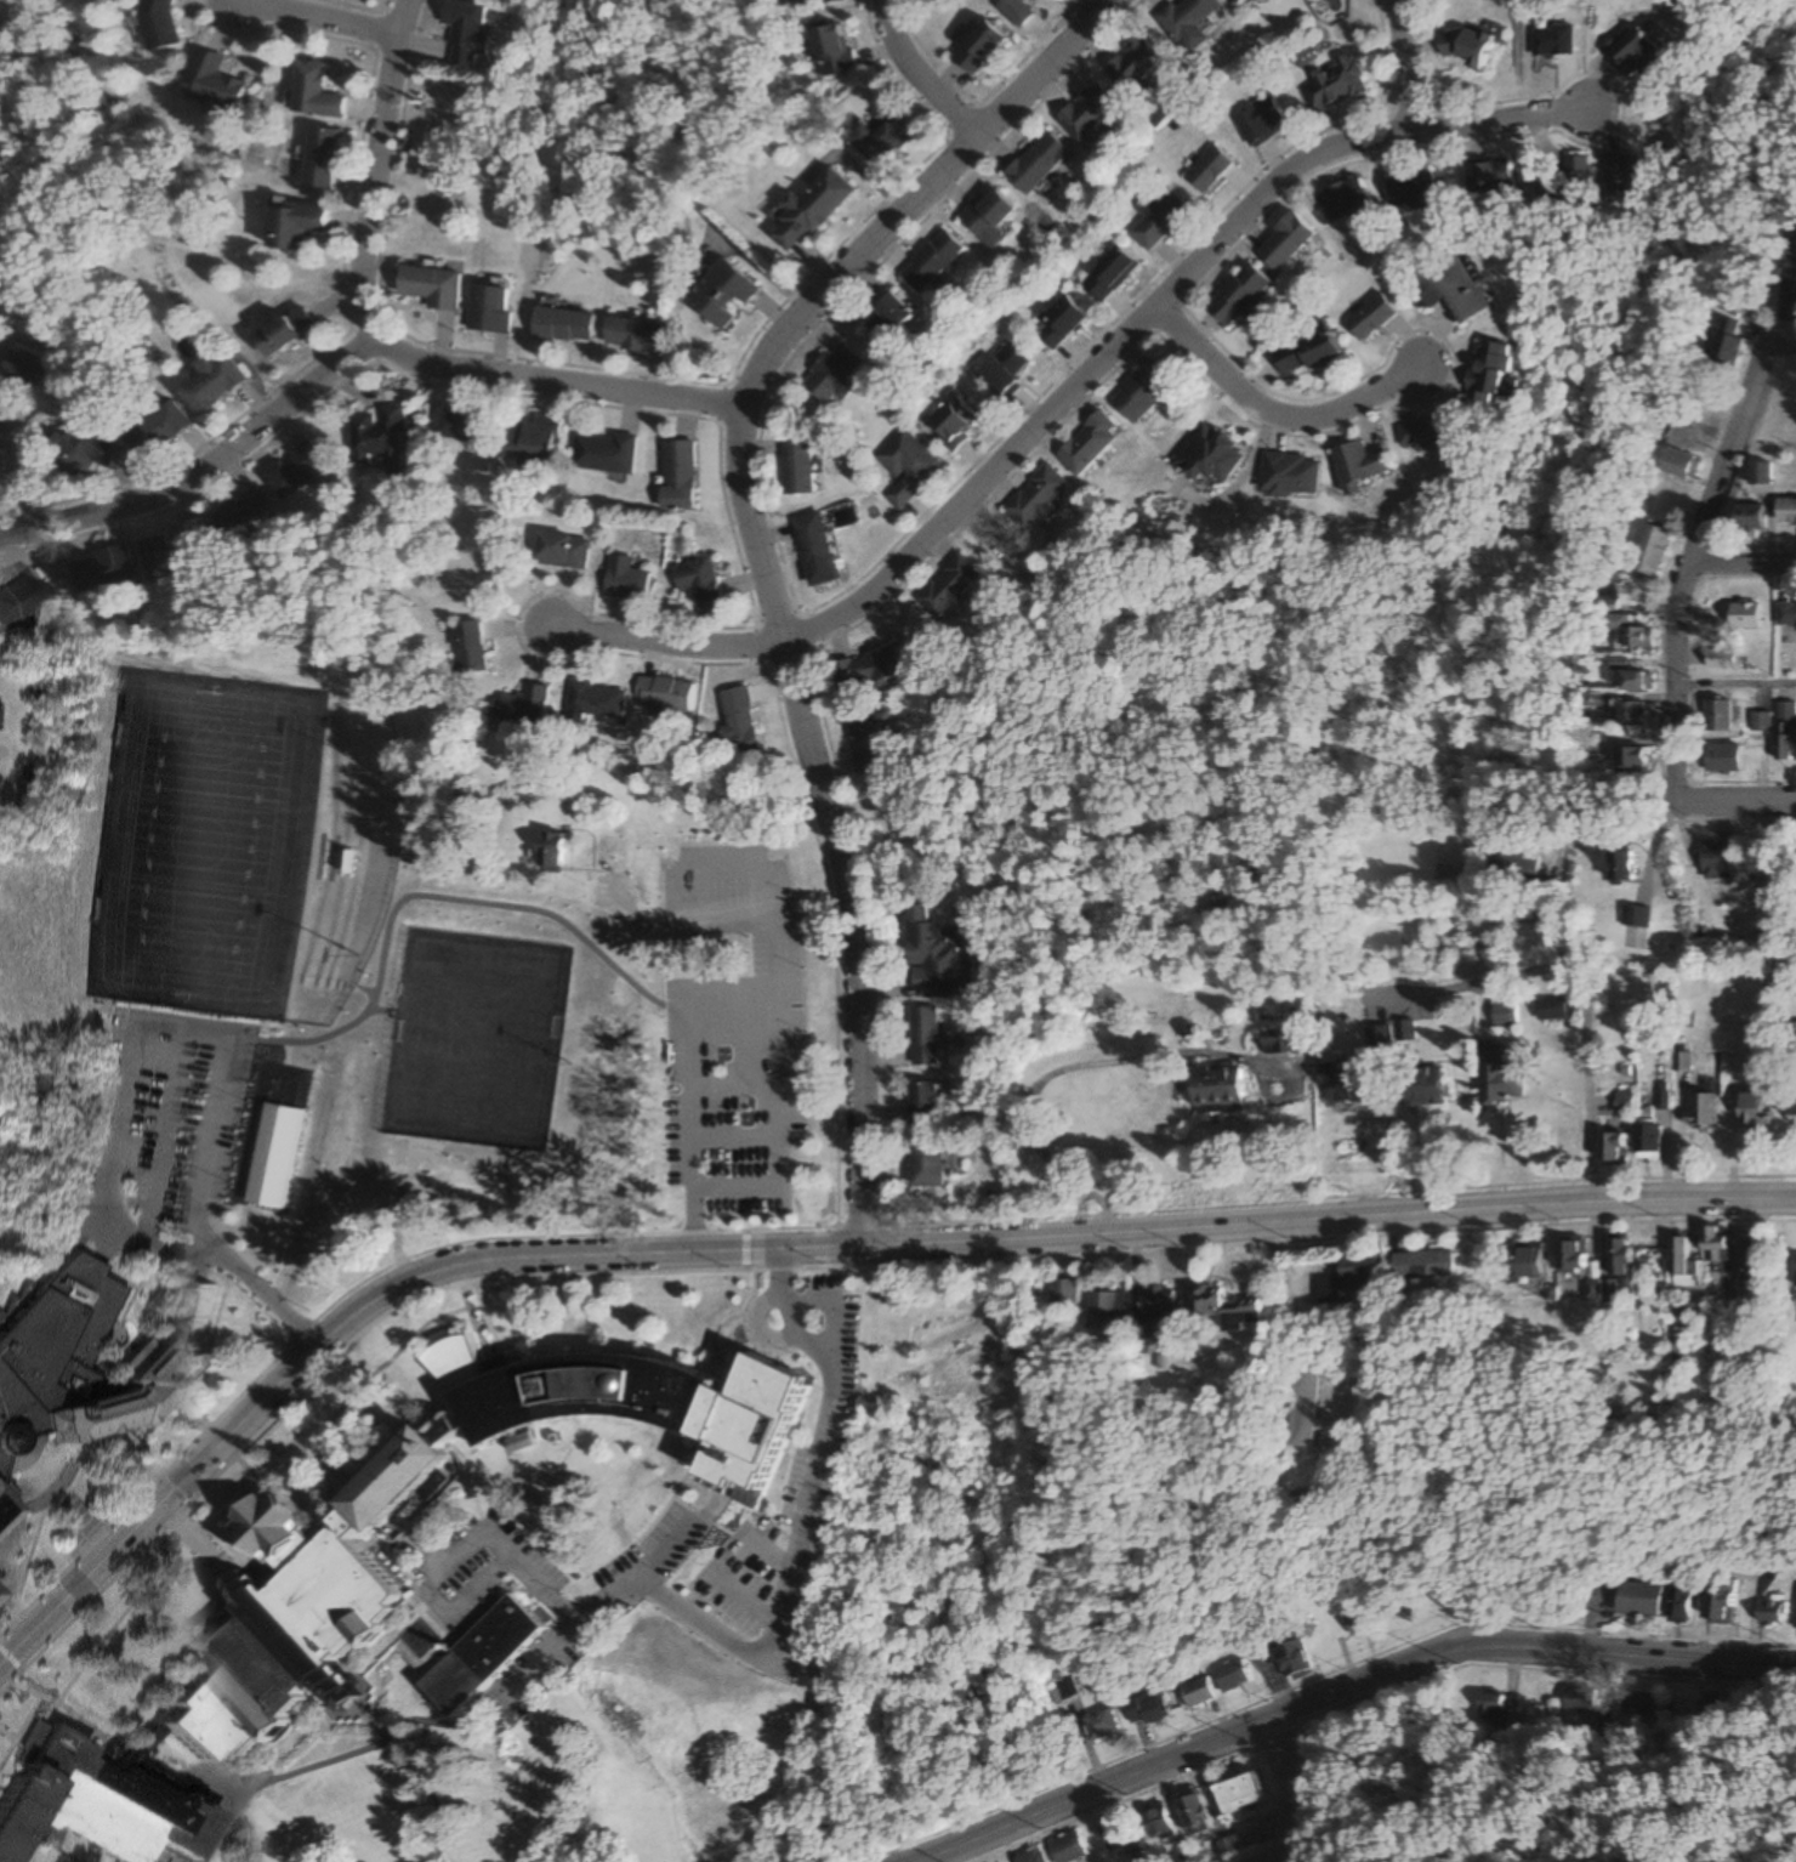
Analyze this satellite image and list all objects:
road: (312, 19)
road: (1397, 63)
road: (914, 79)
road: (1150, 306)
road: (1783, 340)
road: (388, 345)
road: (1272, 405)
road: (1729, 453)
road: (222, 461)
road: (25, 479)
road: (18, 533)
road: (995, 540)
road: (755, 551)
road: (1743, 564)
road: (665, 641)
road: (1675, 681)
road: (1735, 685)
road: (1677, 799)
park: (199, 841)
road: (431, 895)
road: (636, 915)
road: (300, 920)
road: (335, 983)
road: (768, 987)
road: (127, 1031)
road: (727, 1034)
parking lot: (728, 1035)
park: (481, 1039)
road: (728, 1090)
parking lot: (160, 1134)
road: (773, 1134)
road: (158, 1136)
road: (729, 1136)
road: (250, 1143)
building: (280, 1153)
road: (819, 1242)
road: (456, 1243)
road: (748, 1249)
road: (666, 1271)
road: (779, 1273)
road: (267, 1296)
road: (851, 1310)
road: (482, 1312)
road: (470, 1322)
road: (726, 1325)
road: (763, 1336)
road: (215, 1338)
road: (751, 1350)
building: (155, 1363)
road: (349, 1401)
building: (635, 1407)
road: (188, 1412)
road: (220, 1444)
road: (330, 1465)
road: (39, 1468)
road: (63, 1468)
road: (218, 1475)
road: (29, 1476)
road: (461, 1487)
road: (684, 1501)
road: (718, 1505)
road: (90, 1506)
building: (4, 1516)
road: (187, 1535)
road: (35, 1539)
road: (660, 1546)
road: (802, 1548)
road: (462, 1552)
road: (72, 1562)
road: (729, 1563)
road: (414, 1580)
parking lot: (545, 1588)
road: (143, 1595)
road: (205, 1601)
road: (413, 1605)
road: (568, 1639)
building: (479, 1654)
road: (11, 1657)
building: (235, 1668)
road: (1346, 1692)
road: (358, 1709)
road: (29, 1714)
road: (86, 1719)
road: (10, 1735)
road: (426, 1772)
road: (1295, 1790)
road: (1127, 1800)
road: (227, 1807)

